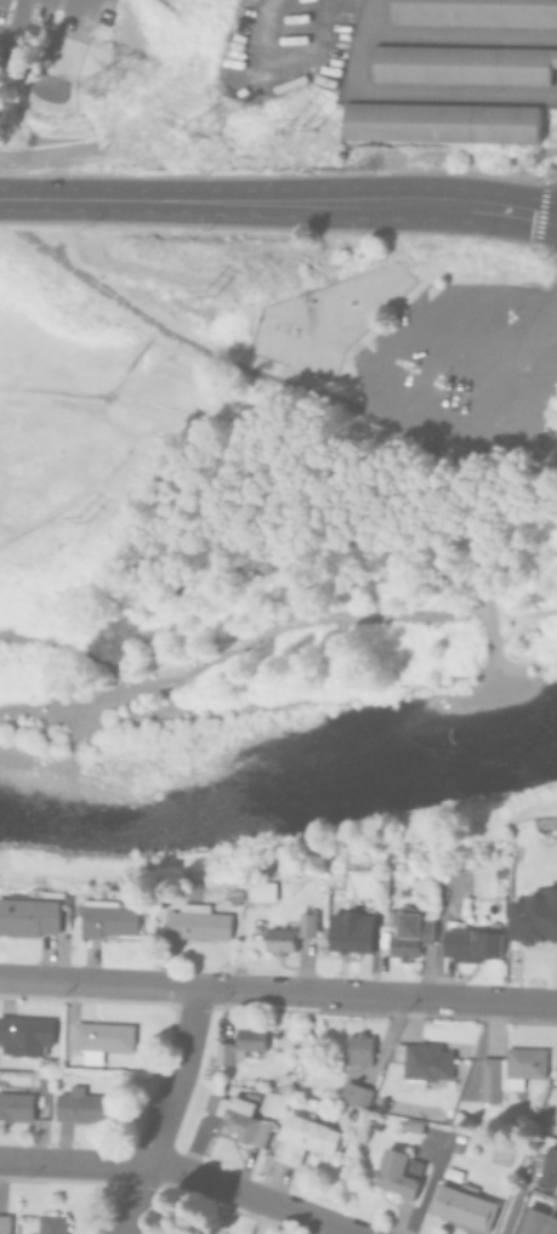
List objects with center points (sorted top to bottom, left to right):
road: (80, 2)
building: (474, 12)
road: (18, 24)
building: (462, 64)
power tower: (62, 106)
building: (441, 123)
power tower: (170, 143)
road: (279, 201)
road: (553, 303)
park: (322, 322)
road: (460, 340)
road: (491, 354)
road: (286, 382)
road: (53, 392)
road: (433, 396)
road: (377, 415)
road: (125, 457)
park: (263, 499)
river: (280, 797)
building: (262, 891)
building: (233, 897)
building: (28, 916)
building: (108, 916)
building: (534, 916)
building: (197, 922)
building: (349, 929)
building: (410, 932)
building: (288, 936)
building: (467, 940)
building: (381, 942)
road: (278, 991)
building: (24, 1035)
building: (101, 1040)
building: (239, 1045)
building: (357, 1050)
building: (422, 1063)
building: (510, 1071)
building: (250, 1092)
building: (354, 1094)
building: (15, 1107)
building: (83, 1107)
road: (165, 1113)
building: (237, 1118)
building: (456, 1118)
building: (303, 1138)
building: (549, 1166)
road: (180, 1172)
building: (397, 1173)
building: (450, 1175)
building: (462, 1206)
building: (530, 1221)
building: (4, 1224)
building: (51, 1224)
building: (550, 1224)
building: (177, 1232)
building: (25, 1233)

